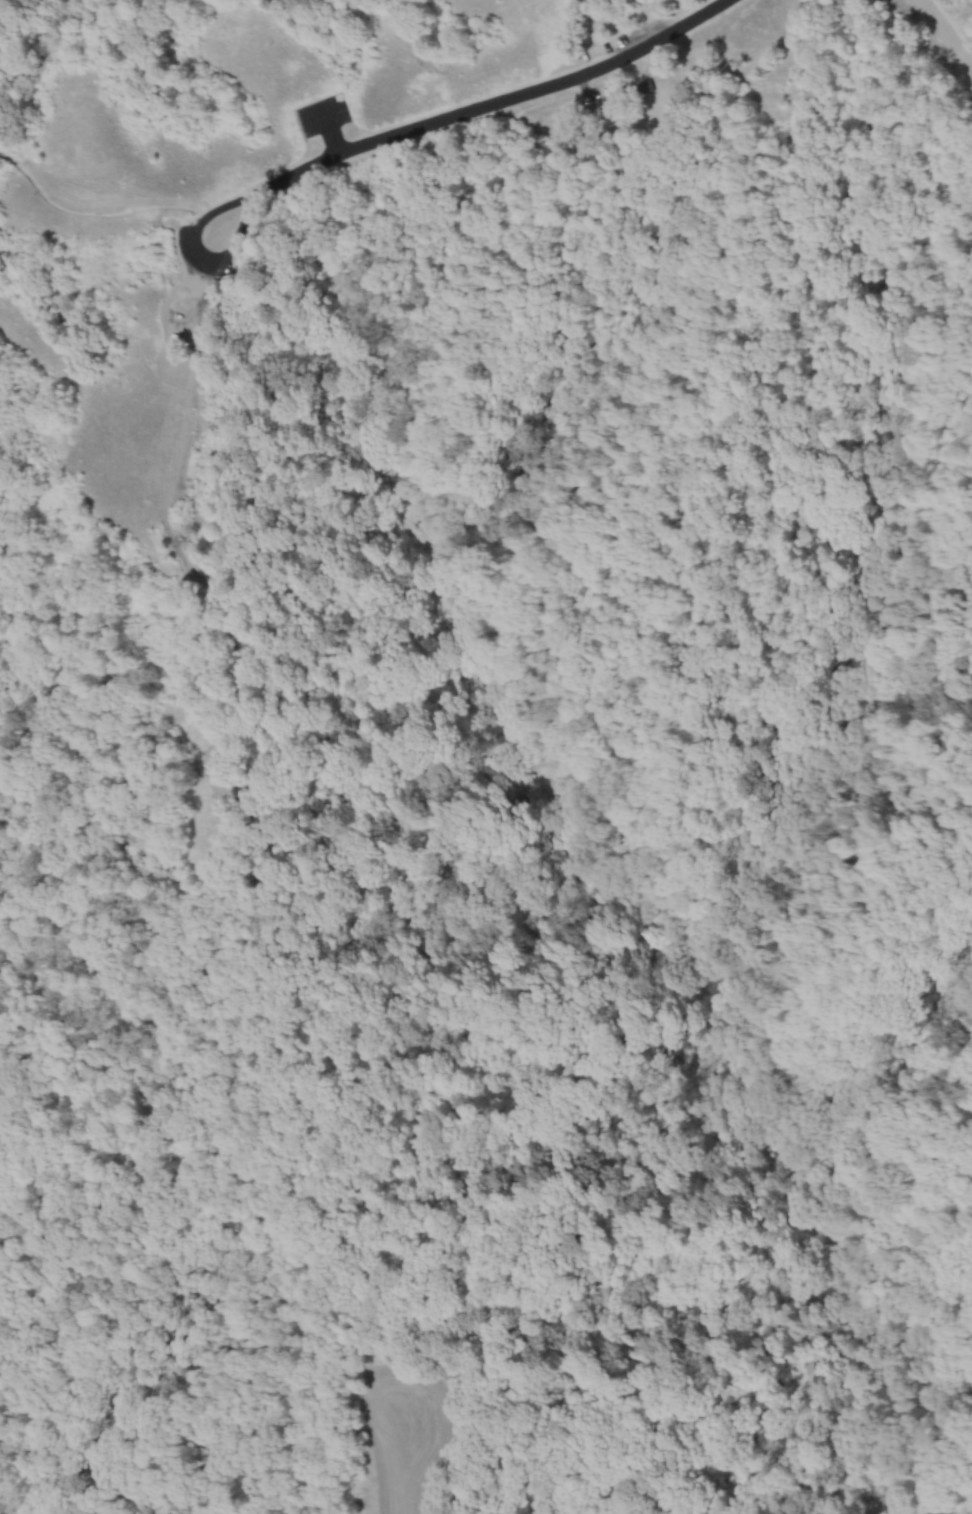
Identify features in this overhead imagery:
road: (945, 32)
building: (647, 84)
road: (461, 111)
road: (332, 130)
road: (94, 211)
road: (221, 257)

